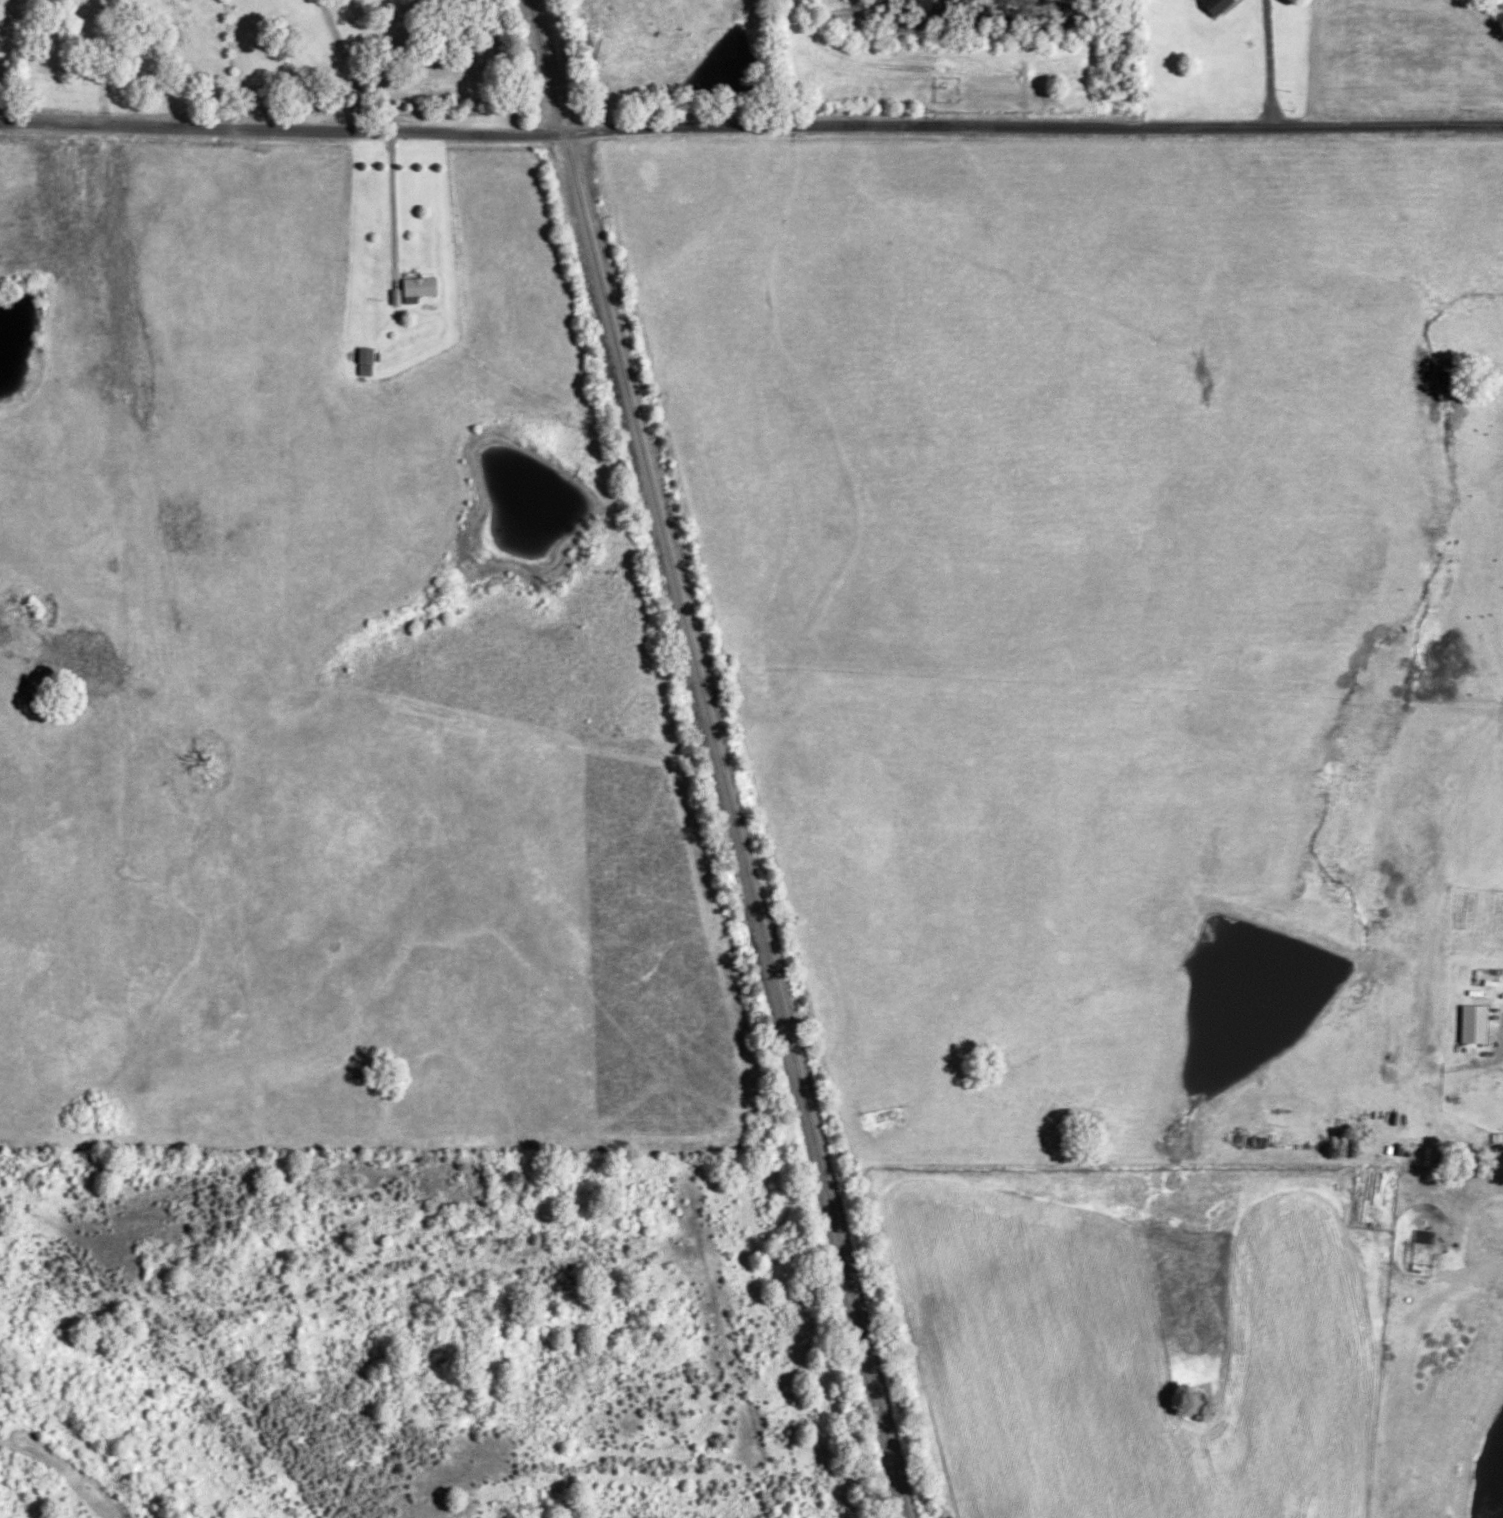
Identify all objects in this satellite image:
building: (1217, 6)
road: (1269, 62)
road: (751, 128)
building: (418, 288)
railway: (716, 758)
building: (1474, 1024)

